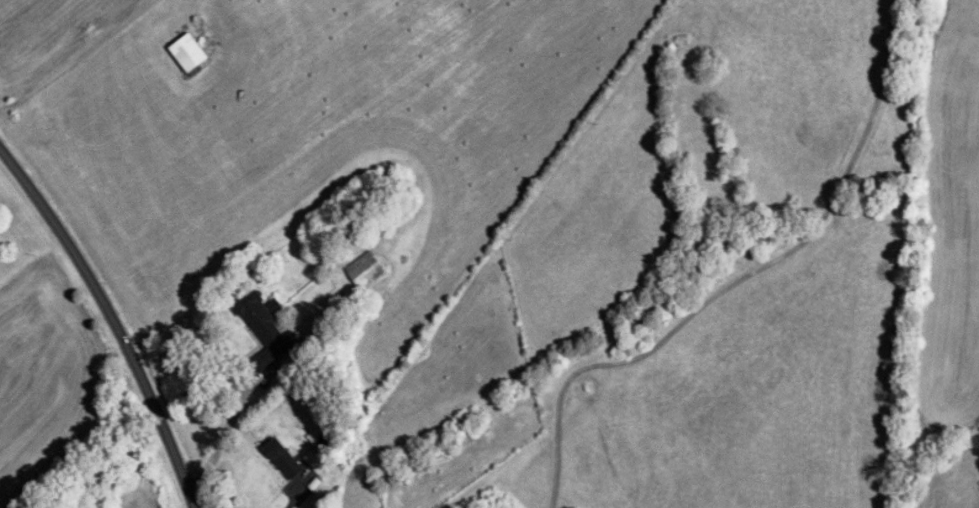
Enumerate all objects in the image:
building: (188, 52)
road: (70, 54)
road: (880, 84)
building: (365, 270)
road: (105, 322)
building: (265, 329)
road: (672, 330)
road: (222, 439)
building: (282, 459)
road: (305, 502)

